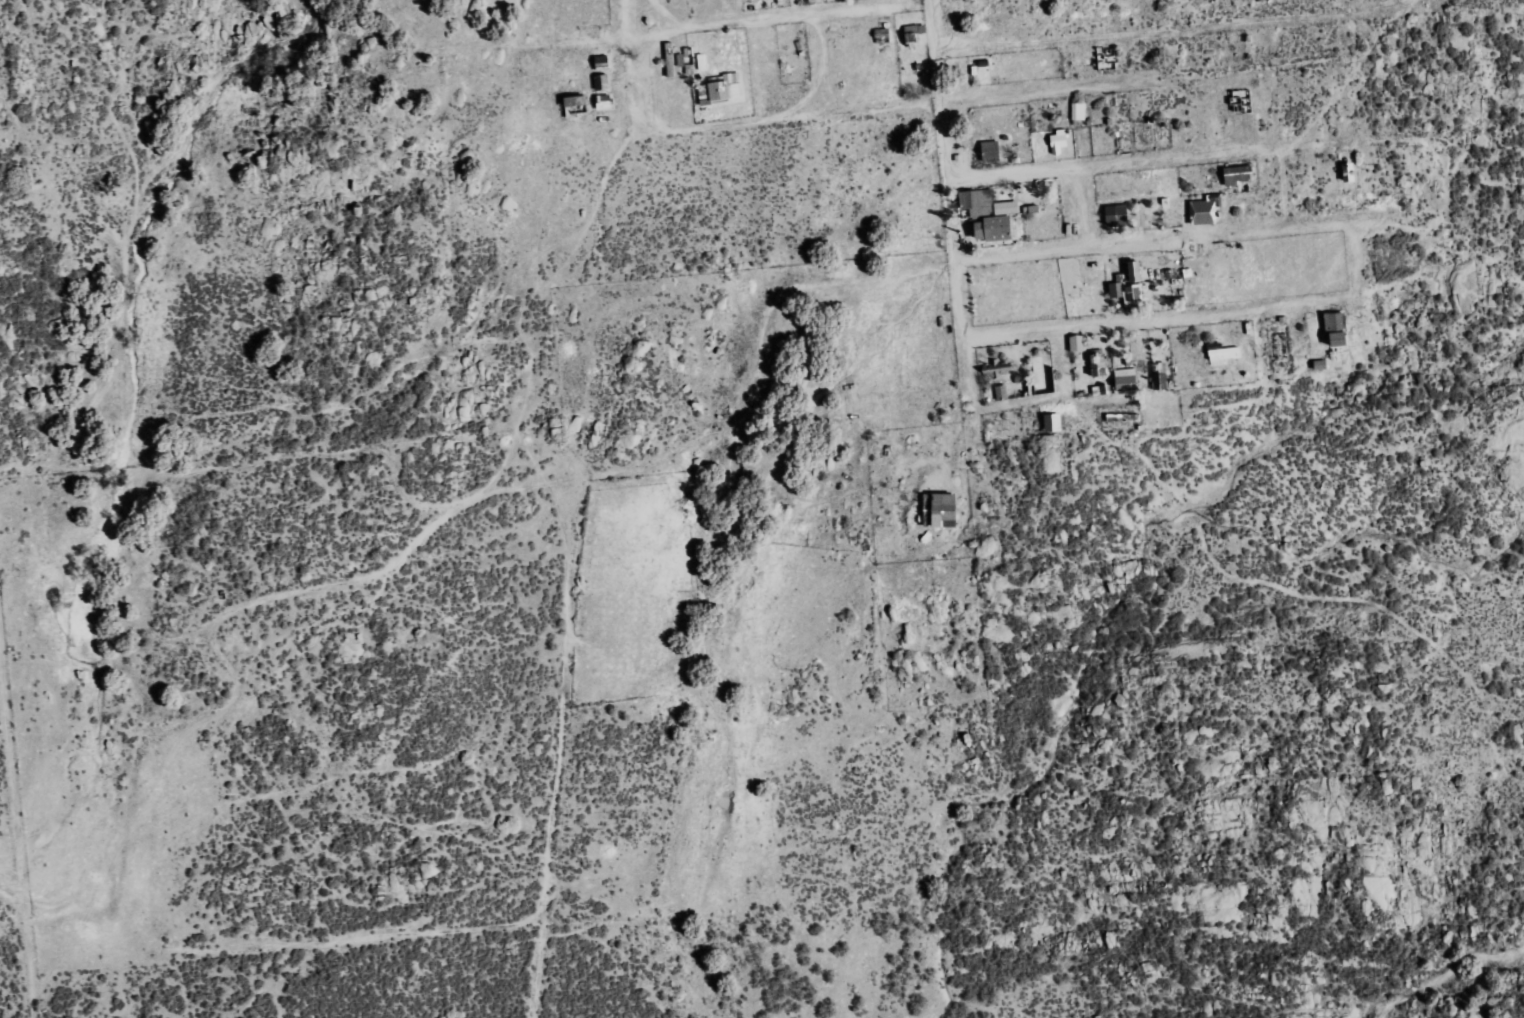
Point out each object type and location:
road: (768, 21)
building: (916, 34)
building: (602, 63)
building: (702, 63)
building: (602, 83)
building: (720, 89)
building: (604, 102)
building: (576, 106)
building: (1078, 110)
road: (716, 126)
building: (1058, 142)
building: (990, 151)
road: (1153, 162)
building: (1239, 175)
road: (1282, 191)
building: (975, 203)
building: (1205, 211)
building: (1116, 215)
road: (950, 220)
building: (998, 223)
road: (1217, 238)
road: (1060, 251)
building: (1135, 272)
building: (1127, 293)
road: (1192, 316)
building: (1336, 328)
building: (1077, 343)
building: (1100, 364)
building: (1320, 364)
building: (1160, 376)
building: (1125, 378)
building: (1100, 390)
building: (1001, 392)
building: (1053, 423)
building: (940, 510)

